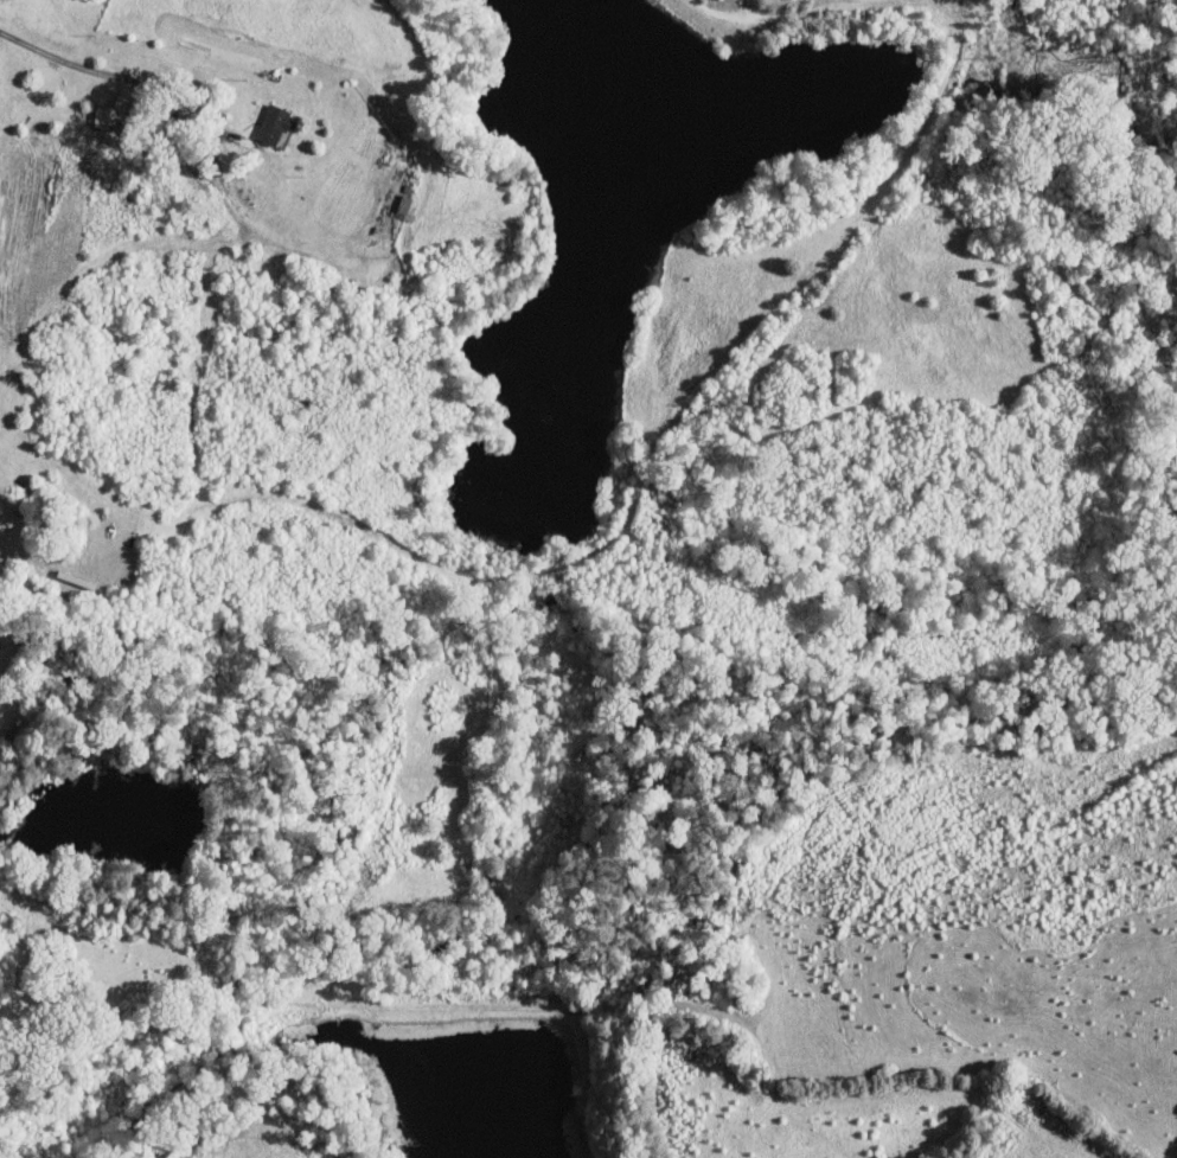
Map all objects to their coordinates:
road: (123, 77)
building: (273, 124)

